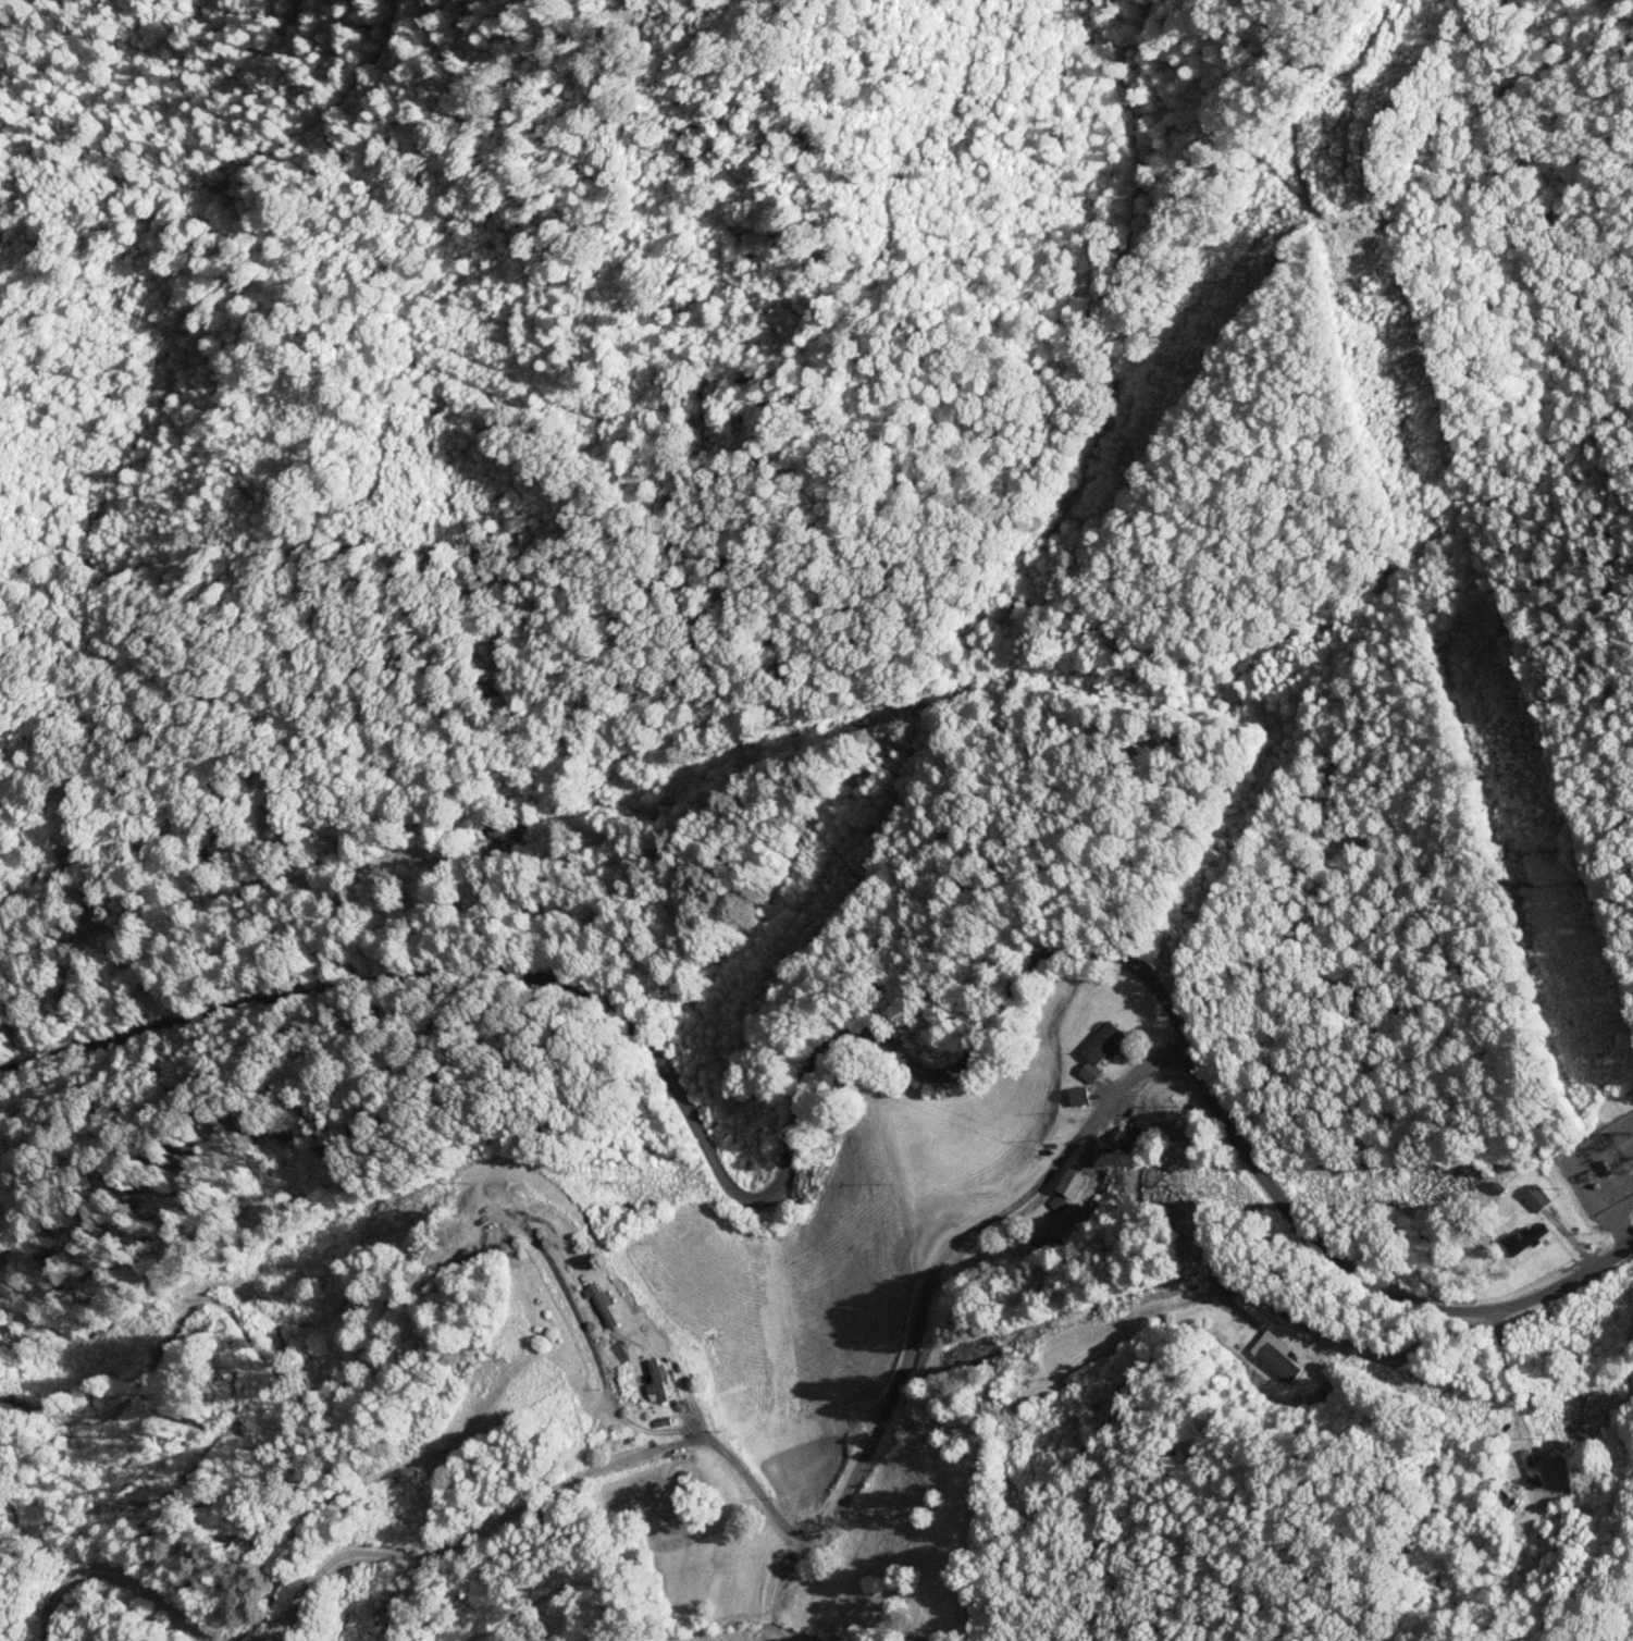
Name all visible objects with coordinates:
road: (970, 490)
road: (1131, 691)
road: (868, 1073)
building: (1080, 1098)
building: (1537, 1198)
road: (1253, 1234)
building: (1530, 1241)
road: (1285, 1291)
building: (603, 1307)
road: (925, 1311)
building: (1279, 1365)
building: (657, 1384)
building: (1532, 1470)
building: (1507, 1497)

